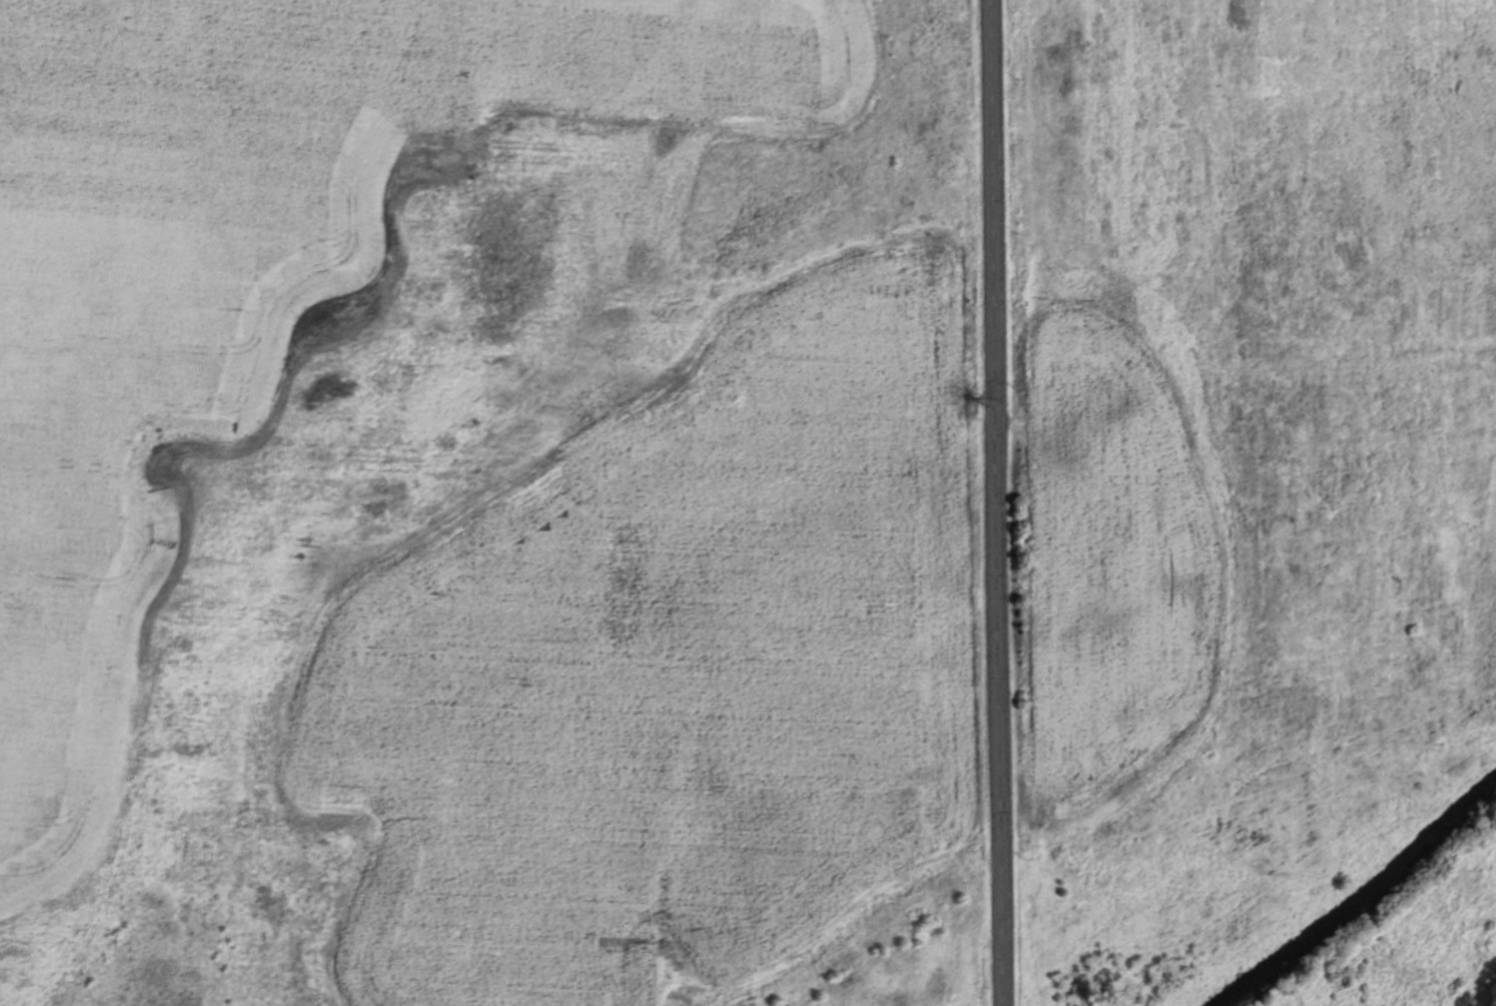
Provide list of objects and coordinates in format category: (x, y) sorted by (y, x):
road: (996, 503)

